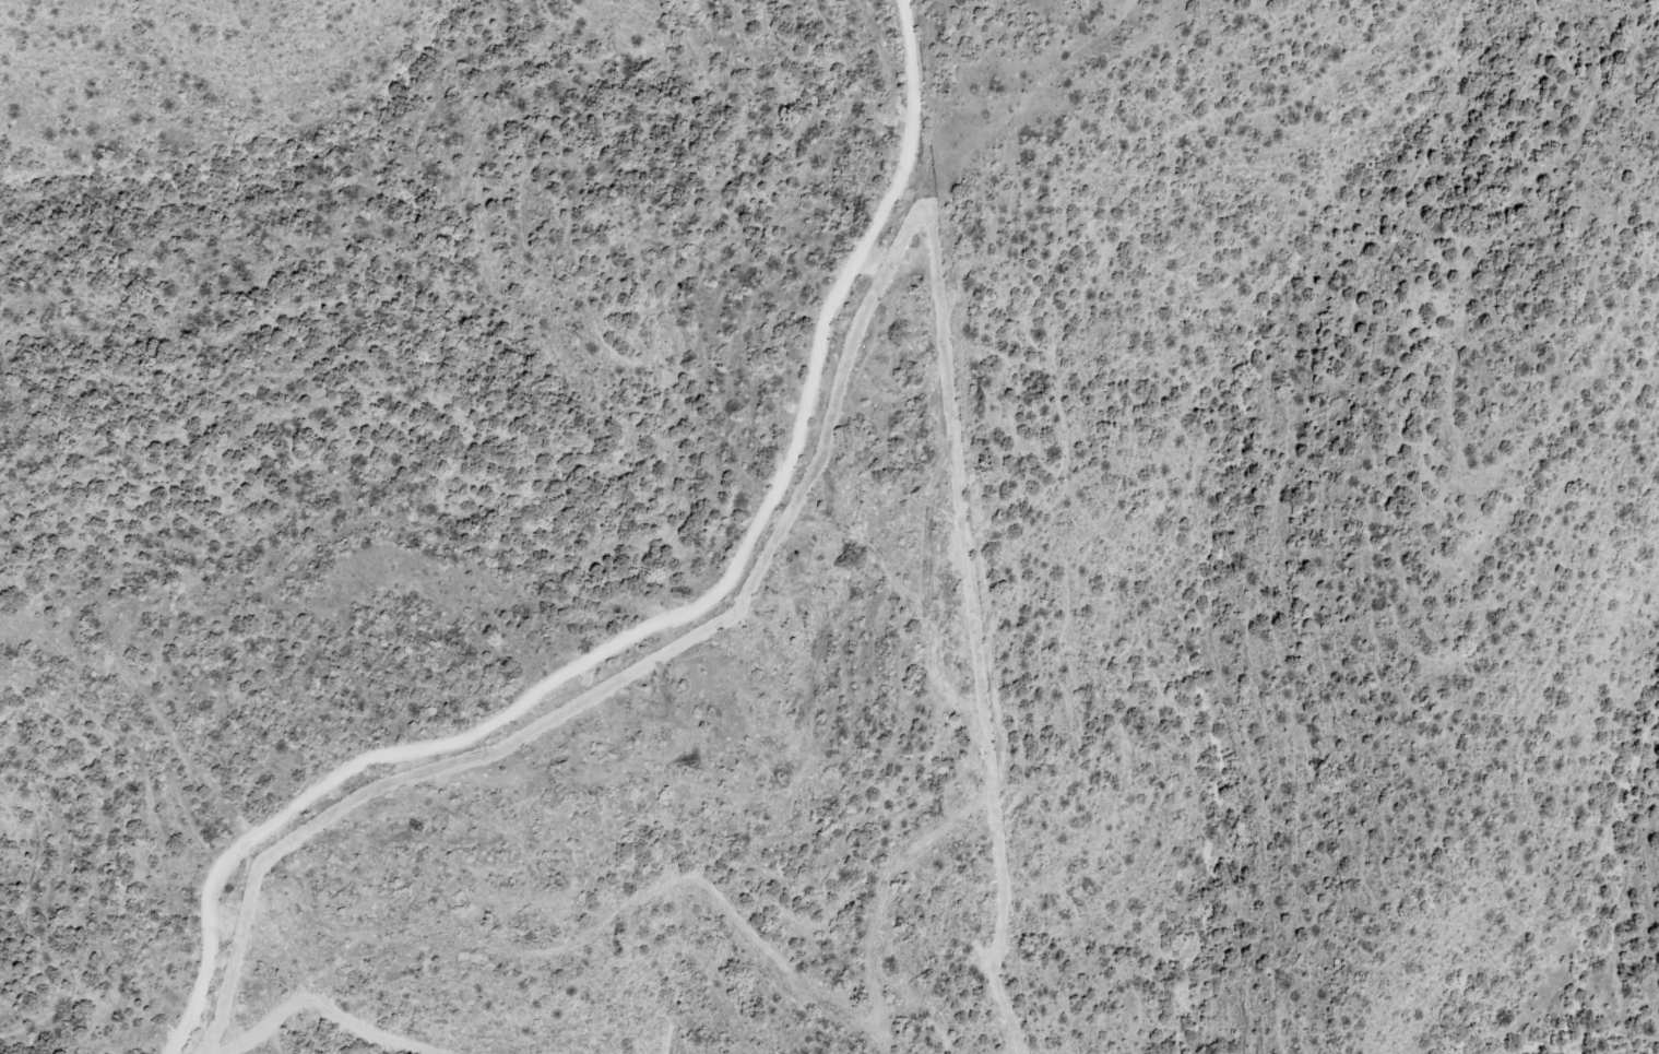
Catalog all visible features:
road: (901, 86)
road: (719, 592)

